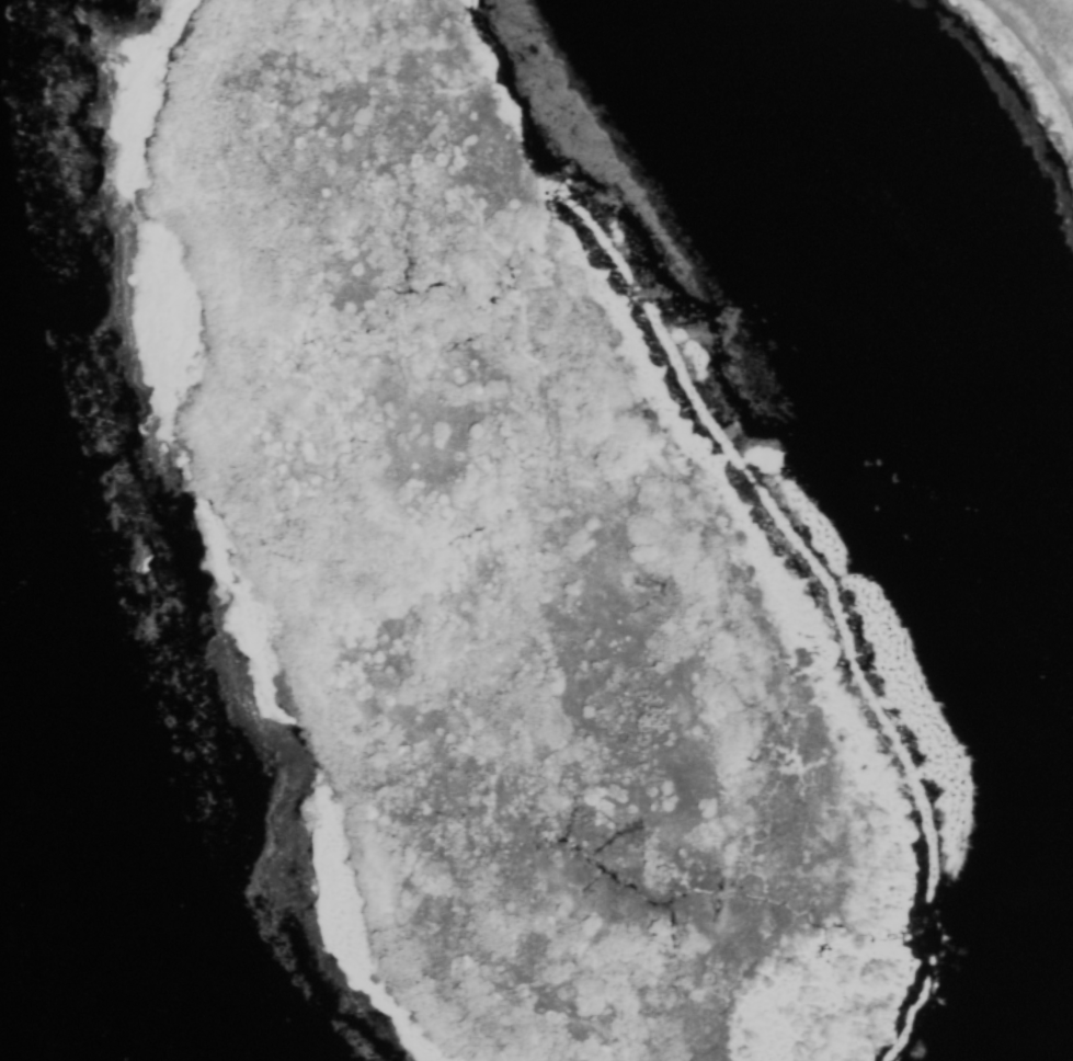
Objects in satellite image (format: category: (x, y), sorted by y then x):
crop: (1016, 54)
river: (989, 488)
river: (82, 843)

